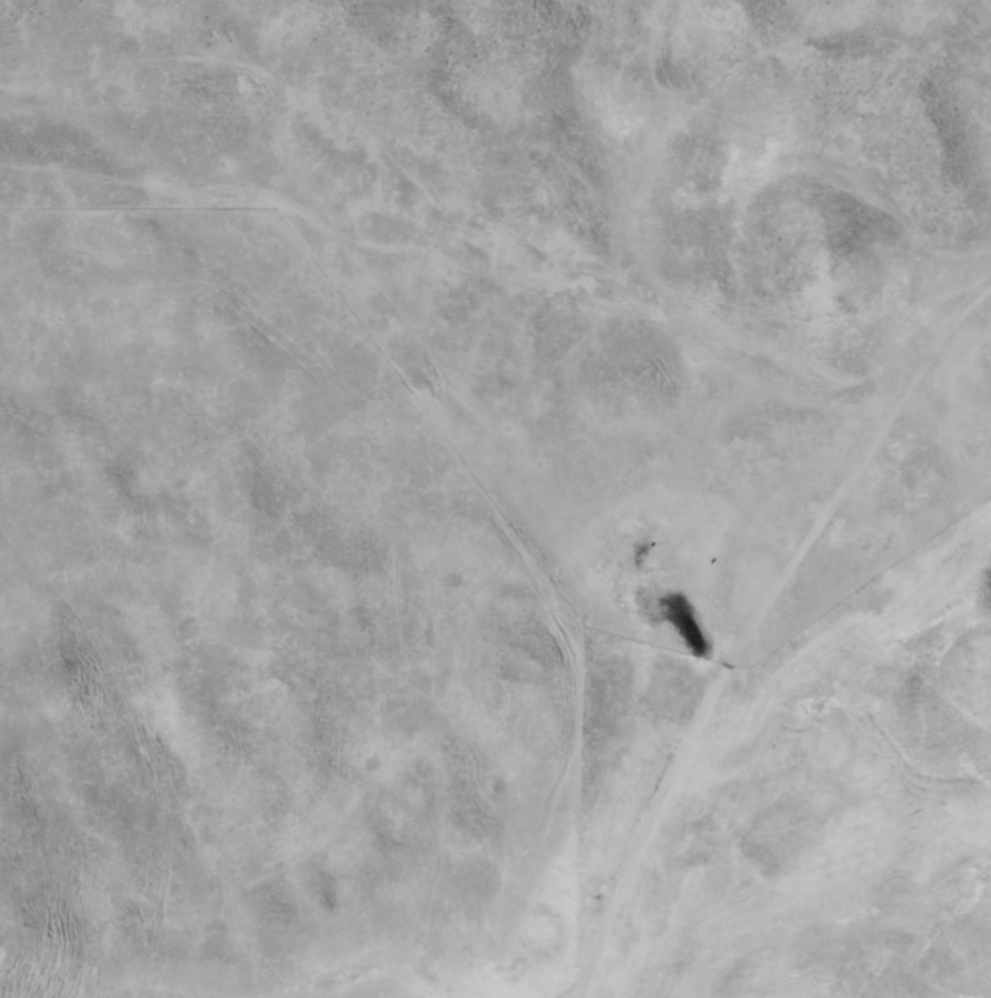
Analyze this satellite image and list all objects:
road: (752, 631)

